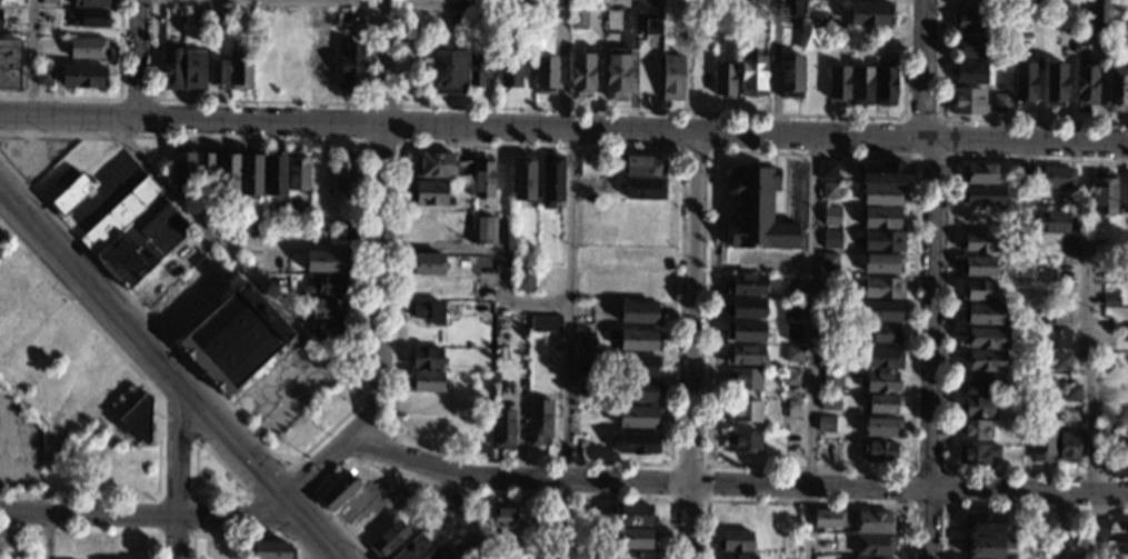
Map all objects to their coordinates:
building: (49, 1)
building: (90, 3)
building: (552, 3)
road: (533, 7)
building: (791, 7)
building: (1118, 7)
building: (1097, 11)
building: (579, 14)
building: (870, 14)
building: (0, 16)
building: (178, 16)
building: (219, 17)
building: (89, 18)
building: (816, 19)
building: (450, 21)
building: (970, 21)
building: (1121, 22)
building: (417, 23)
building: (652, 27)
building: (884, 39)
building: (970, 47)
building: (88, 48)
road: (33, 57)
road: (133, 57)
road: (383, 61)
building: (9, 63)
building: (350, 66)
building: (171, 68)
building: (478, 68)
building: (240, 70)
building: (447, 70)
building: (193, 71)
building: (218, 72)
building: (509, 72)
building: (581, 72)
building: (616, 72)
building: (968, 72)
building: (751, 73)
building: (546, 74)
building: (43, 76)
building: (790, 76)
building: (1084, 76)
building: (83, 77)
building: (671, 77)
building: (723, 79)
building: (1024, 83)
building: (838, 84)
building: (1054, 84)
building: (861, 86)
building: (886, 86)
building: (1117, 89)
building: (967, 101)
building: (1000, 102)
road: (400, 103)
road: (563, 129)
road: (909, 137)
road: (945, 137)
road: (710, 149)
road: (915, 156)
road: (675, 160)
building: (441, 166)
building: (642, 166)
building: (206, 168)
building: (183, 171)
building: (827, 171)
building: (343, 172)
building: (1022, 173)
building: (227, 174)
building: (250, 174)
building: (298, 174)
building: (886, 174)
building: (979, 174)
building: (274, 176)
building: (481, 178)
building: (522, 178)
building: (1056, 178)
building: (550, 181)
building: (643, 189)
building: (830, 190)
building: (429, 192)
building: (1126, 193)
building: (884, 194)
building: (1104, 194)
building: (71, 196)
building: (984, 196)
building: (757, 211)
building: (831, 216)
building: (881, 218)
building: (1049, 222)
building: (249, 228)
building: (483, 230)
building: (342, 231)
building: (134, 233)
building: (1126, 233)
building: (831, 240)
building: (884, 241)
building: (981, 243)
road: (419, 249)
road: (236, 261)
building: (829, 261)
building: (326, 262)
building: (426, 263)
building: (881, 264)
building: (977, 267)
road: (930, 278)
road: (377, 280)
building: (525, 281)
building: (746, 285)
building: (793, 285)
building: (326, 286)
building: (828, 286)
building: (884, 288)
building: (136, 290)
building: (977, 290)
building: (1110, 300)
building: (328, 308)
building: (745, 308)
building: (789, 309)
building: (428, 311)
building: (880, 311)
building: (639, 312)
building: (982, 313)
road: (948, 316)
road: (1085, 322)
building: (545, 323)
building: (329, 331)
building: (743, 331)
building: (792, 331)
building: (828, 332)
building: (882, 333)
building: (984, 338)
building: (1056, 339)
building: (233, 340)
building: (636, 340)
road: (568, 343)
road: (112, 345)
road: (691, 346)
road: (811, 347)
road: (359, 350)
building: (793, 353)
building: (745, 355)
building: (828, 356)
building: (426, 357)
building: (882, 359)
building: (984, 360)
building: (1059, 361)
building: (637, 365)
building: (791, 378)
building: (743, 379)
building: (832, 379)
road: (166, 381)
building: (426, 381)
building: (880, 381)
building: (980, 385)
building: (638, 390)
building: (1070, 392)
building: (829, 401)
building: (335, 402)
building: (881, 403)
building: (1041, 405)
building: (978, 407)
building: (793, 409)
building: (742, 411)
building: (638, 417)
road: (177, 419)
building: (136, 420)
building: (539, 421)
building: (825, 425)
building: (880, 427)
building: (502, 429)
building: (972, 430)
building: (1025, 431)
building: (299, 436)
building: (742, 441)
building: (636, 442)
building: (1042, 443)
road: (372, 446)
building: (1068, 447)
building: (878, 451)
building: (976, 455)
road: (49, 458)
building: (1102, 461)
road: (222, 465)
road: (322, 466)
road: (178, 478)
road: (739, 483)
road: (469, 490)
road: (79, 491)
building: (339, 491)
traffic signals: (283, 498)
road: (307, 499)
road: (705, 499)
road: (805, 501)
road: (945, 505)
road: (1010, 507)
road: (143, 513)
road: (466, 515)
building: (631, 516)
building: (503, 519)
building: (827, 520)
building: (875, 522)
building: (984, 522)
road: (1059, 526)
building: (1098, 528)
road: (89, 532)
road: (283, 533)
road: (192, 535)
road: (242, 536)
building: (633, 538)
building: (389, 539)
building: (735, 541)
road: (308, 543)
building: (874, 545)
building: (987, 547)
building: (519, 548)
building: (415, 549)
building: (271, 550)
building: (478, 551)
building: (436, 555)
building: (638, 556)
building: (739, 556)
building: (870, 558)

